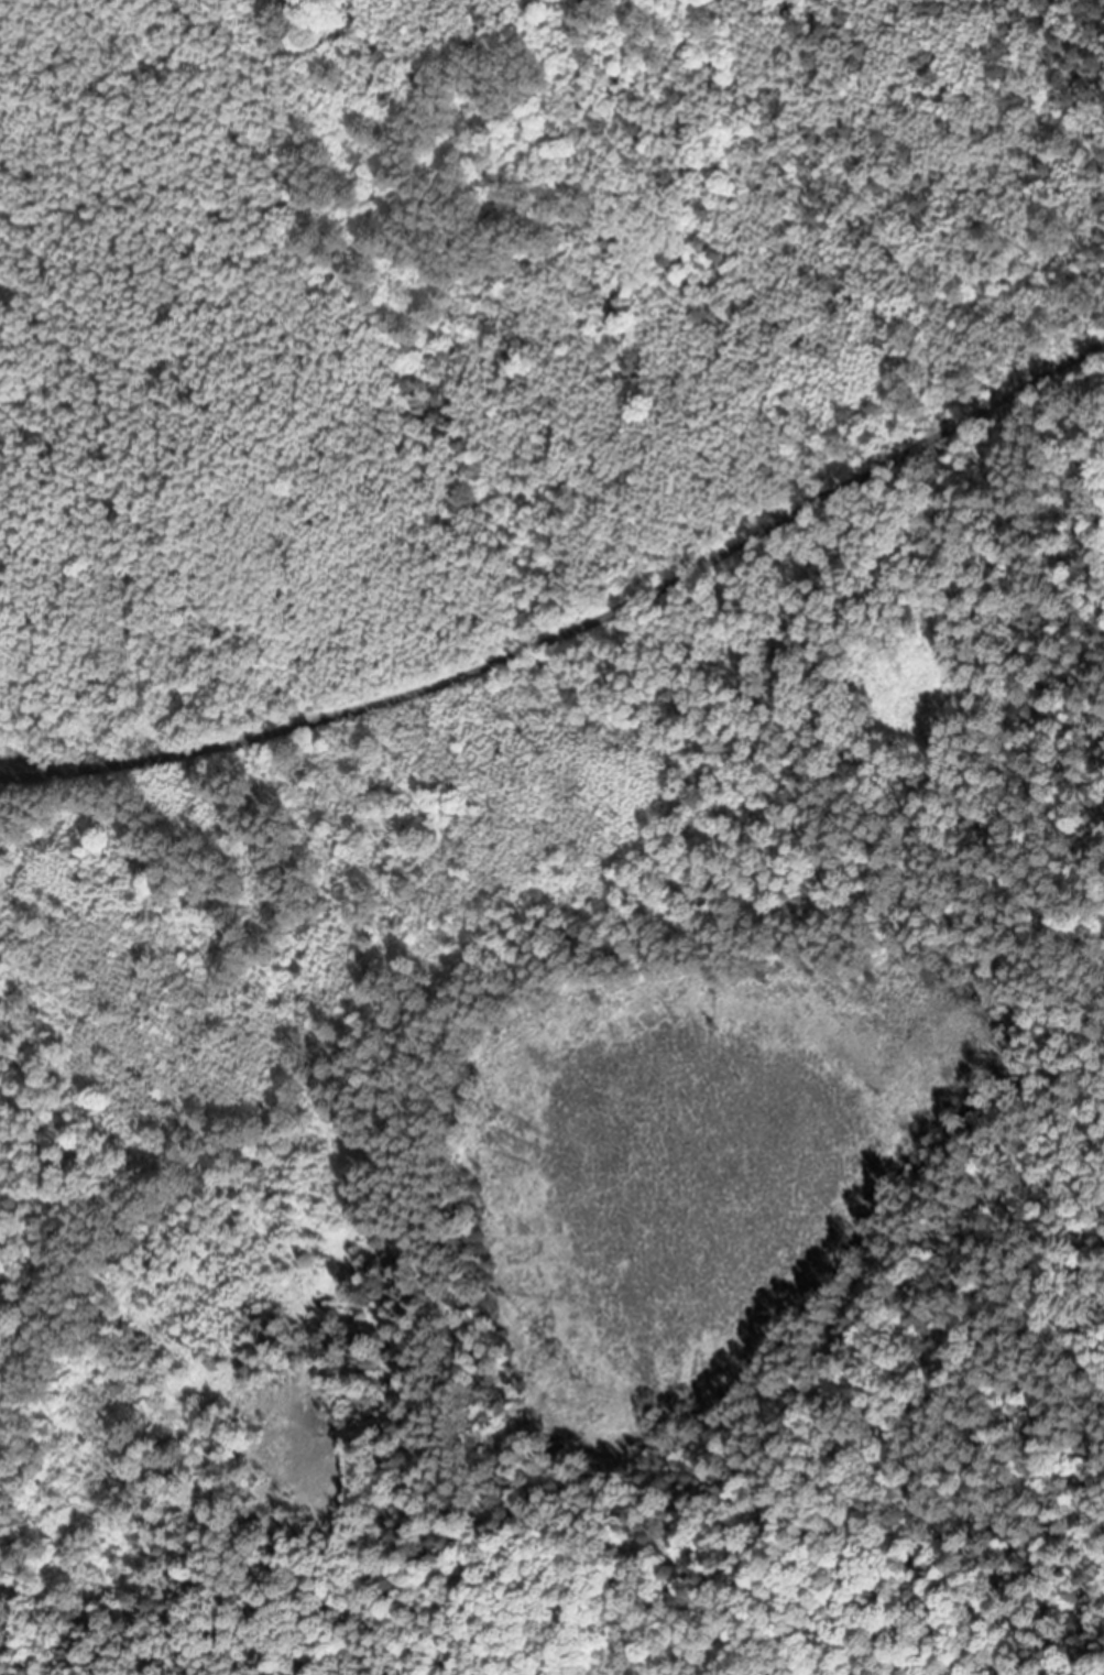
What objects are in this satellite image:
road: (578, 626)

